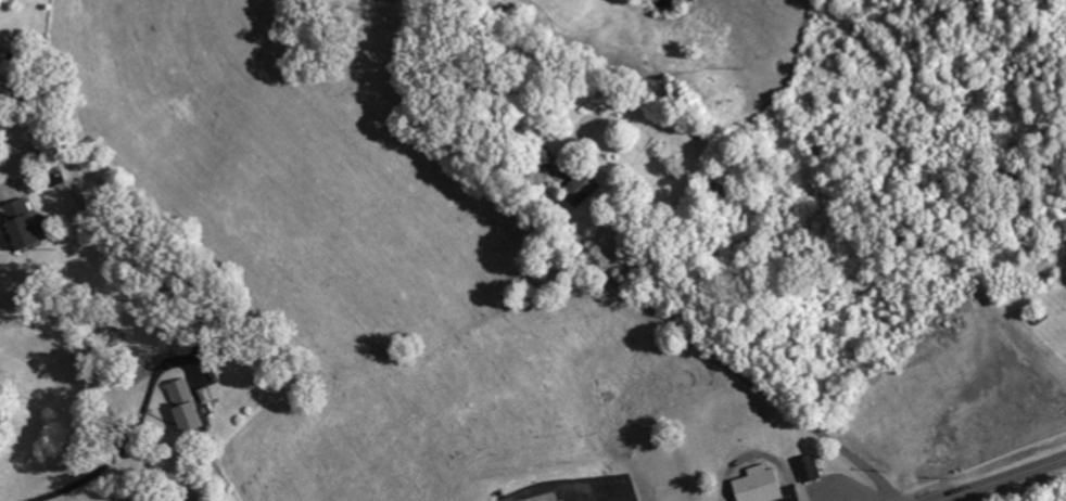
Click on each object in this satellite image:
road: (4, 189)
building: (26, 224)
road: (736, 371)
building: (194, 404)
road: (106, 465)
building: (811, 468)
road: (1004, 479)
building: (763, 485)
road: (571, 490)
road: (582, 496)
road: (953, 499)

